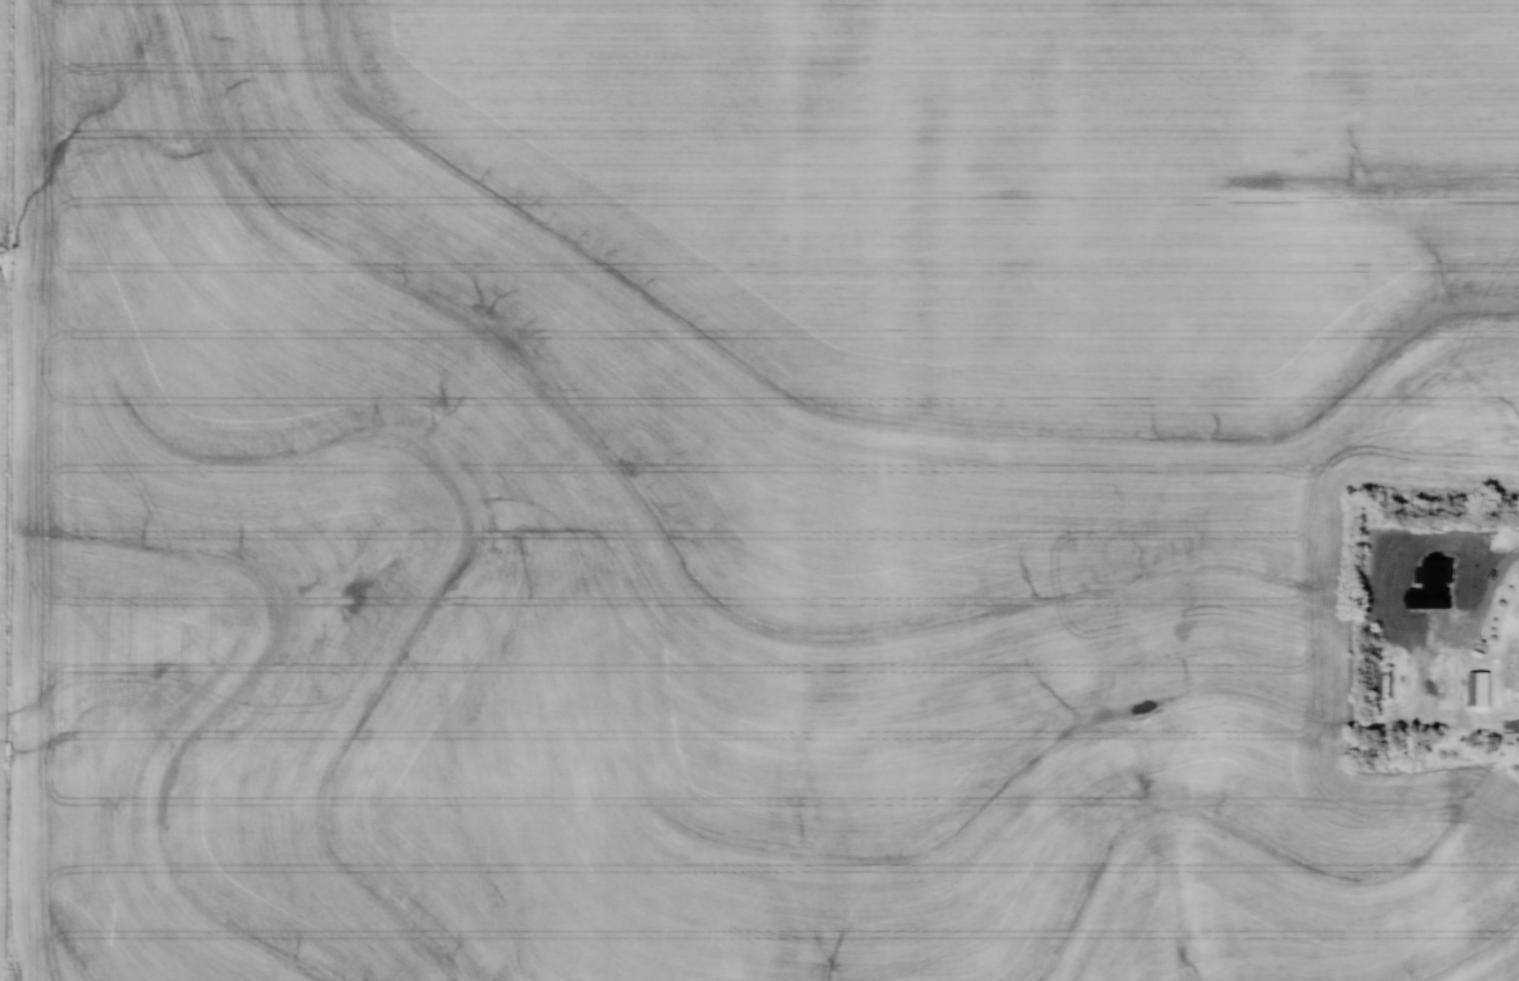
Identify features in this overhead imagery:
building: (1453, 578)
road: (1490, 609)
building: (1389, 681)
building: (1444, 686)
building: (1484, 688)
building: (1517, 725)

